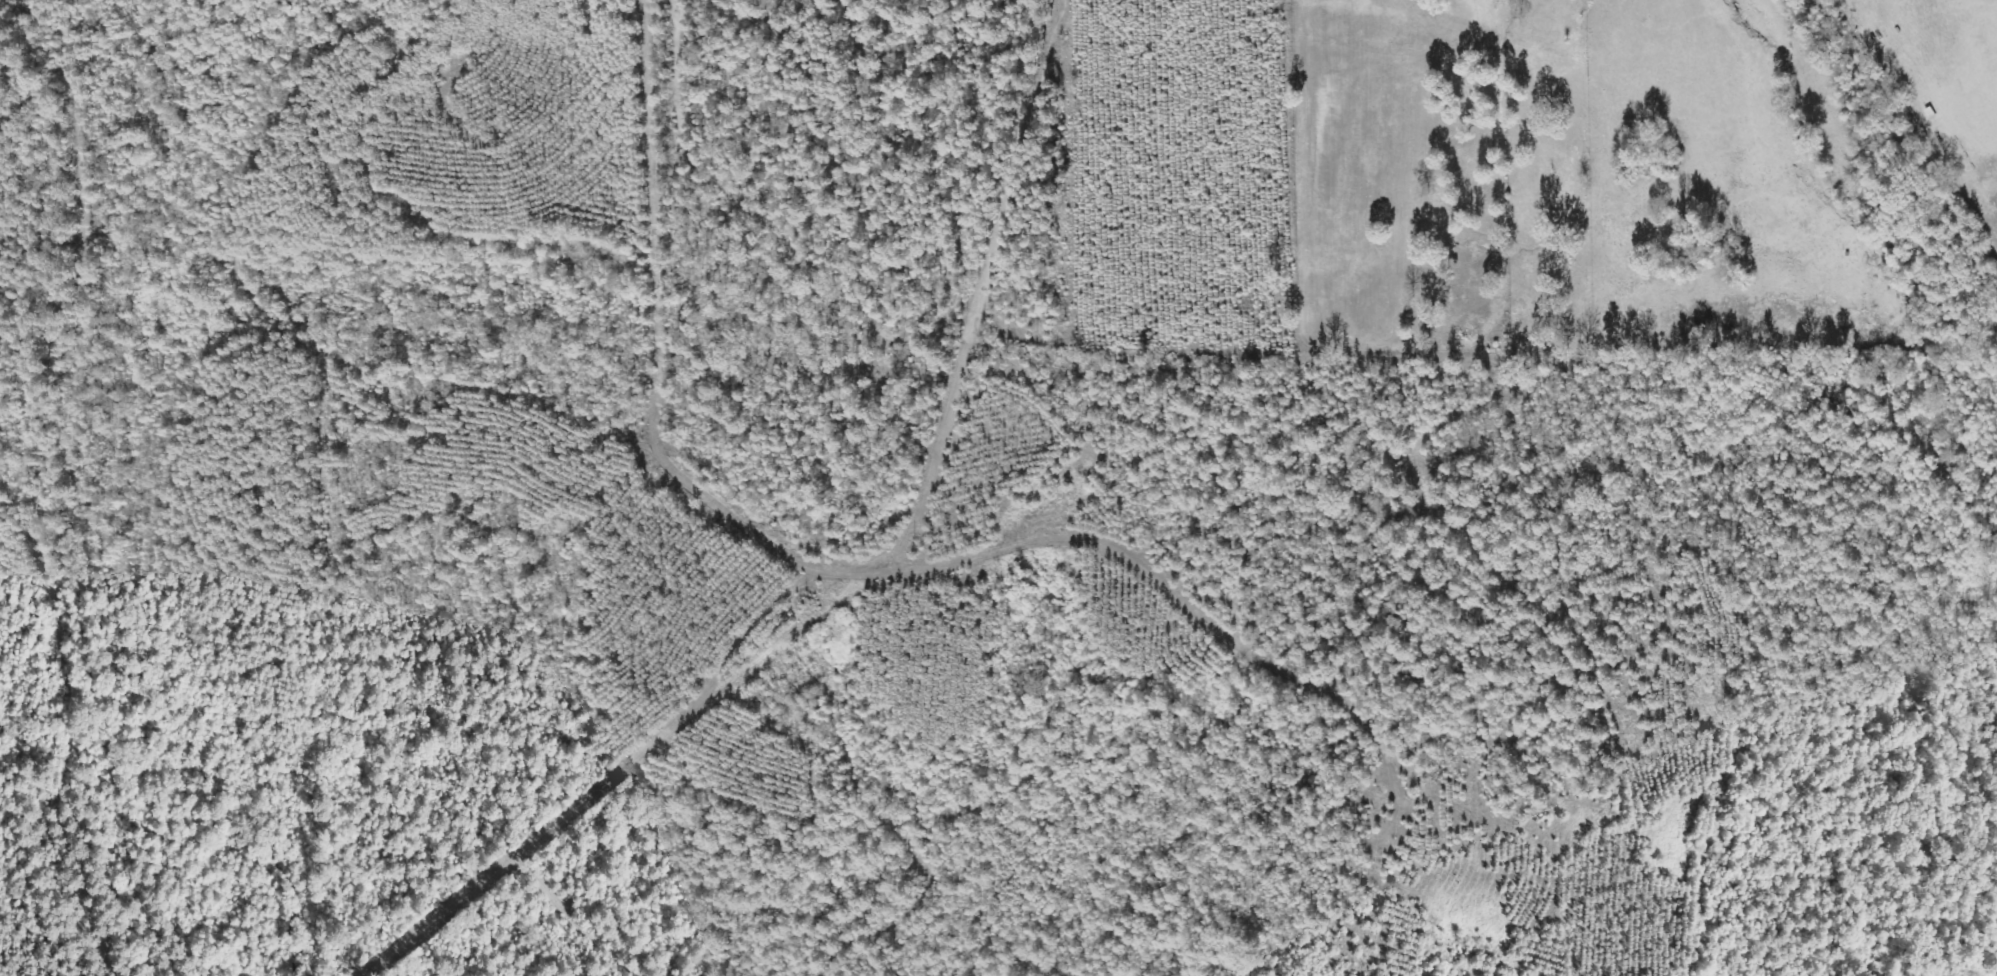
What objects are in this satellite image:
road: (606, 480)
road: (73, 493)

